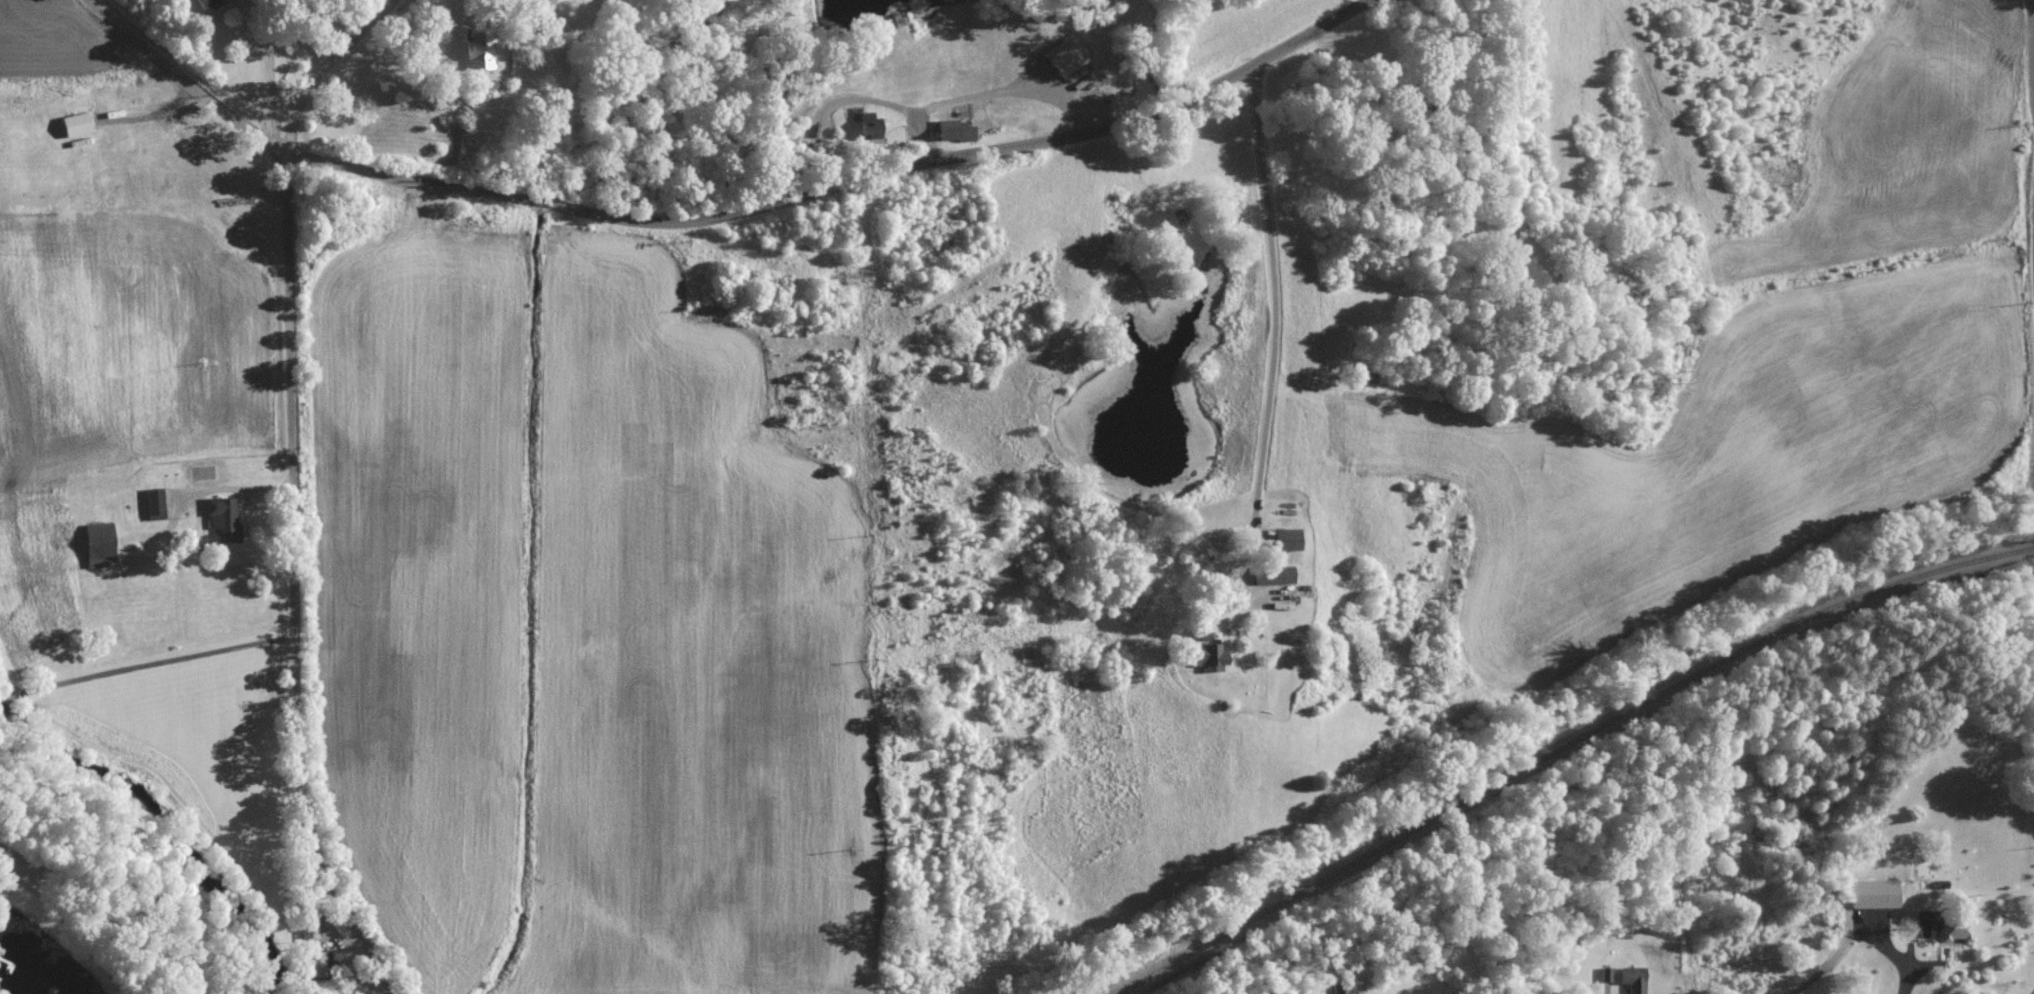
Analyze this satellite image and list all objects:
building: (207, 3)
road: (306, 40)
building: (482, 48)
road: (2031, 48)
building: (1071, 56)
road: (328, 69)
road: (269, 72)
road: (186, 78)
building: (78, 123)
building: (957, 131)
road: (836, 182)
road: (1279, 296)
building: (155, 503)
building: (225, 518)
building: (1284, 538)
building: (102, 544)
building: (1270, 574)
road: (296, 583)
building: (1205, 656)
road: (153, 660)
road: (6, 693)
railway: (1565, 747)
building: (1870, 893)
building: (310, 928)
building: (1953, 929)
building: (1603, 974)
building: (1630, 978)

